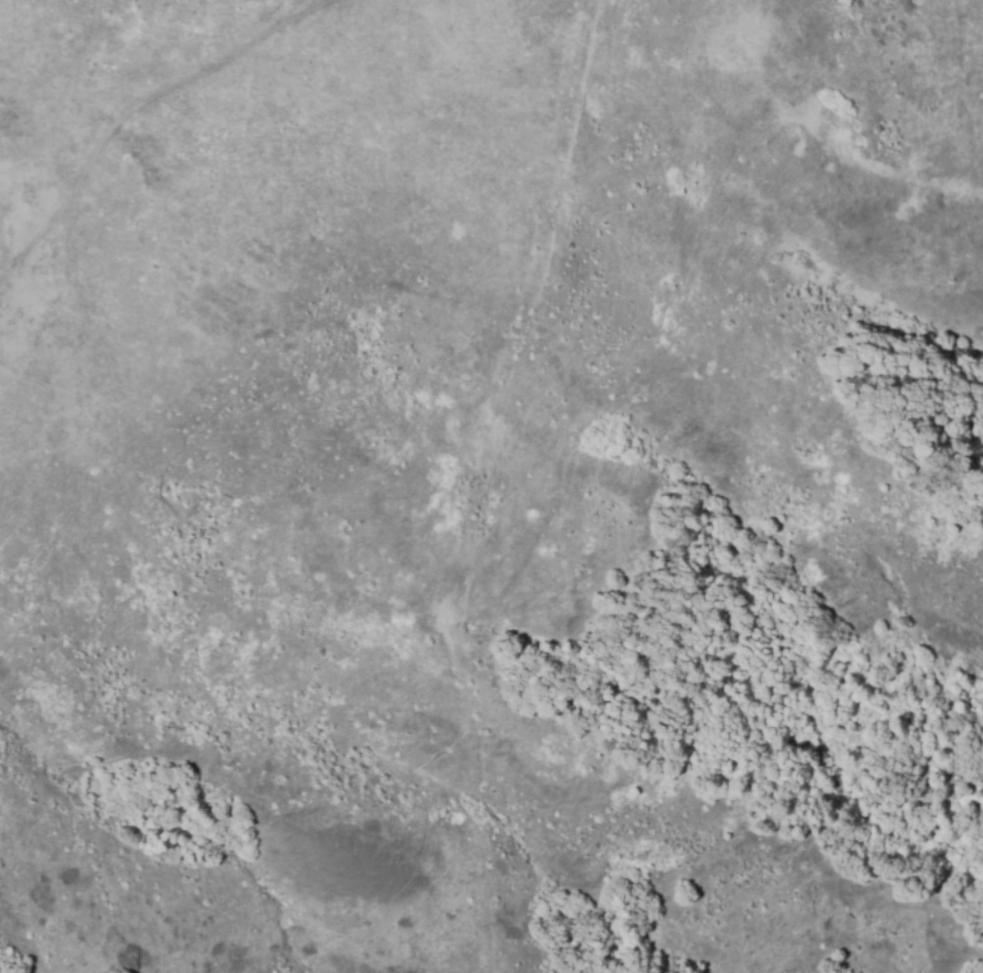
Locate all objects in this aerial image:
road: (136, 109)

